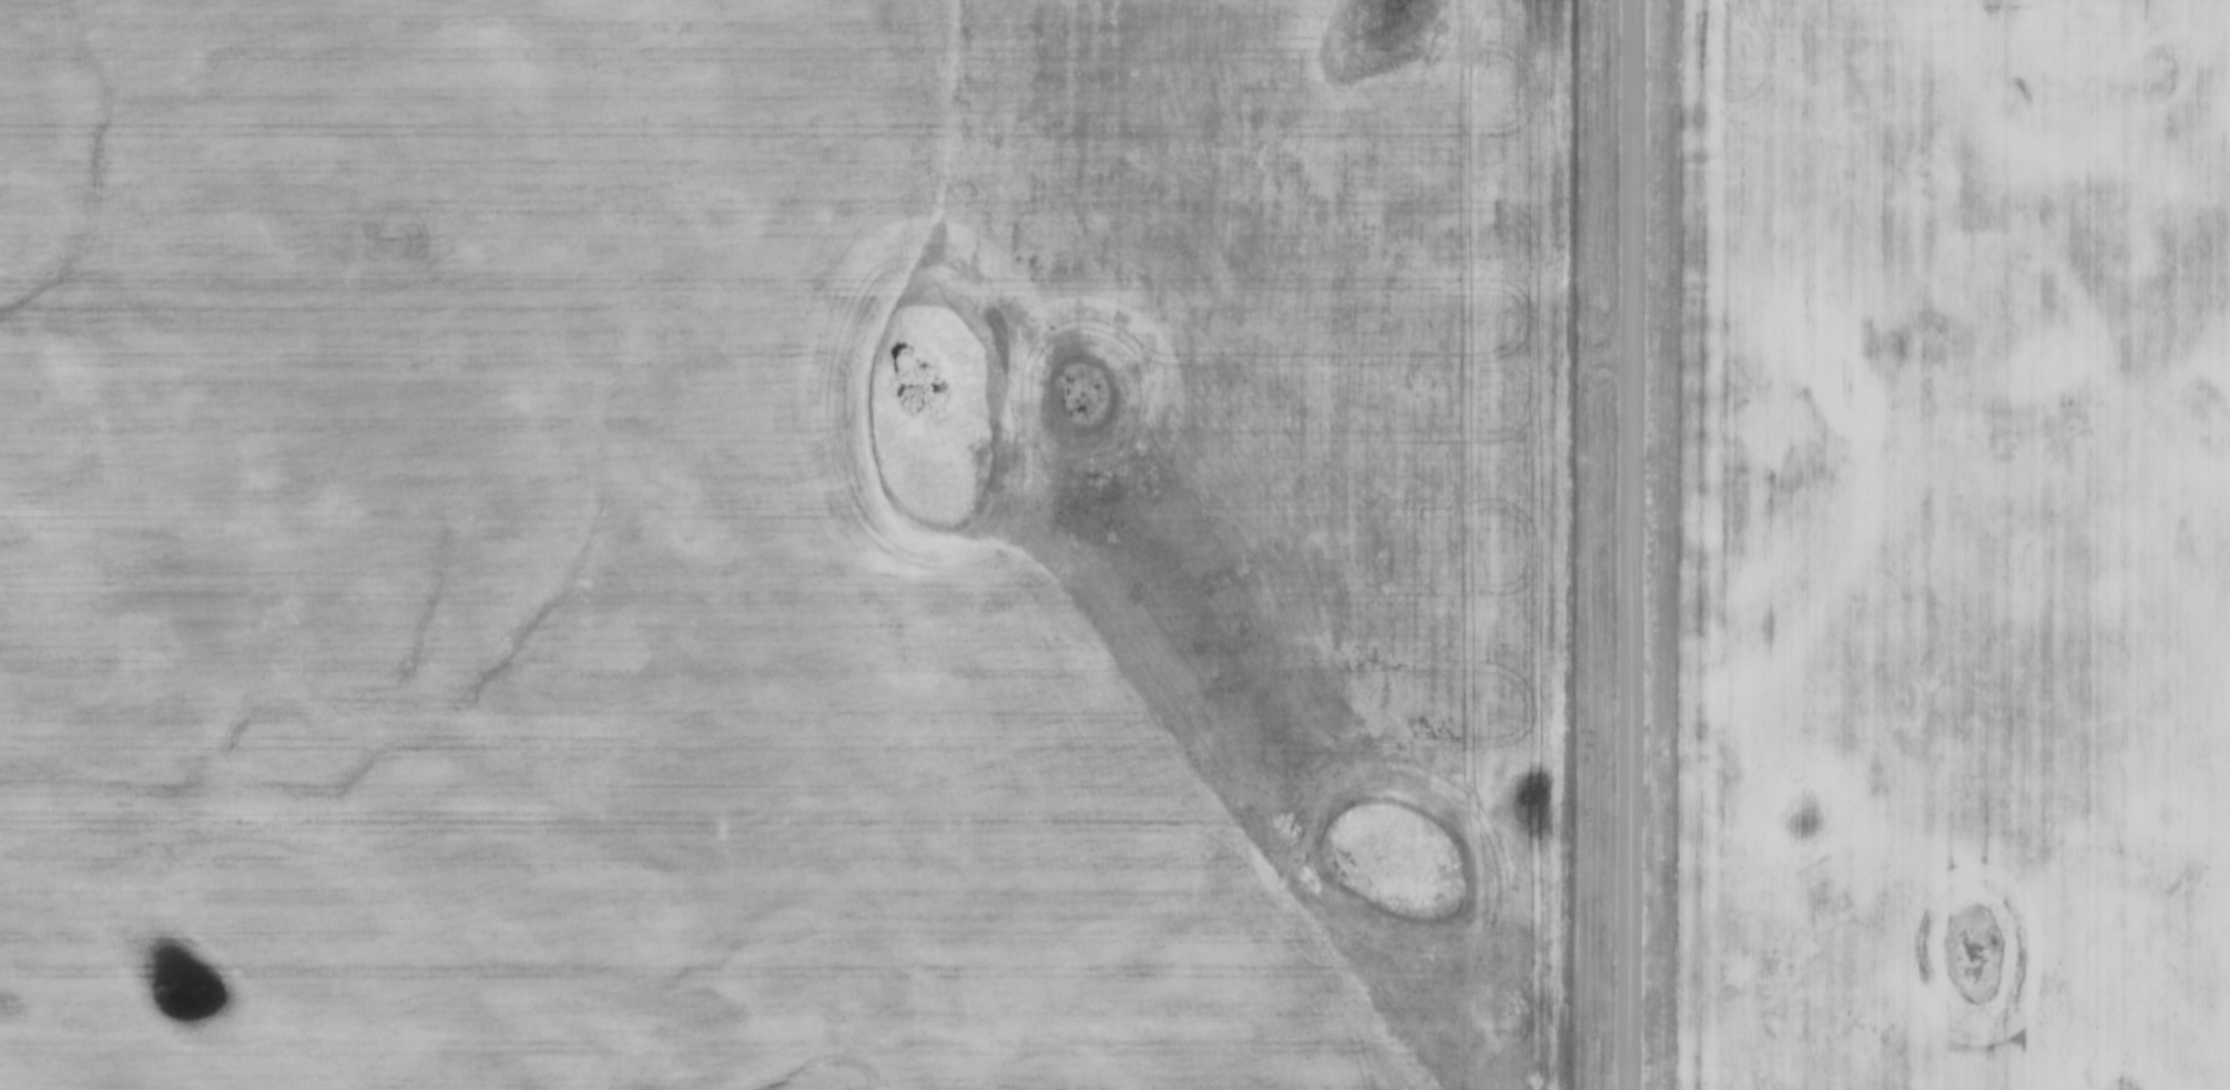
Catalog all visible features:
road: (1636, 544)

